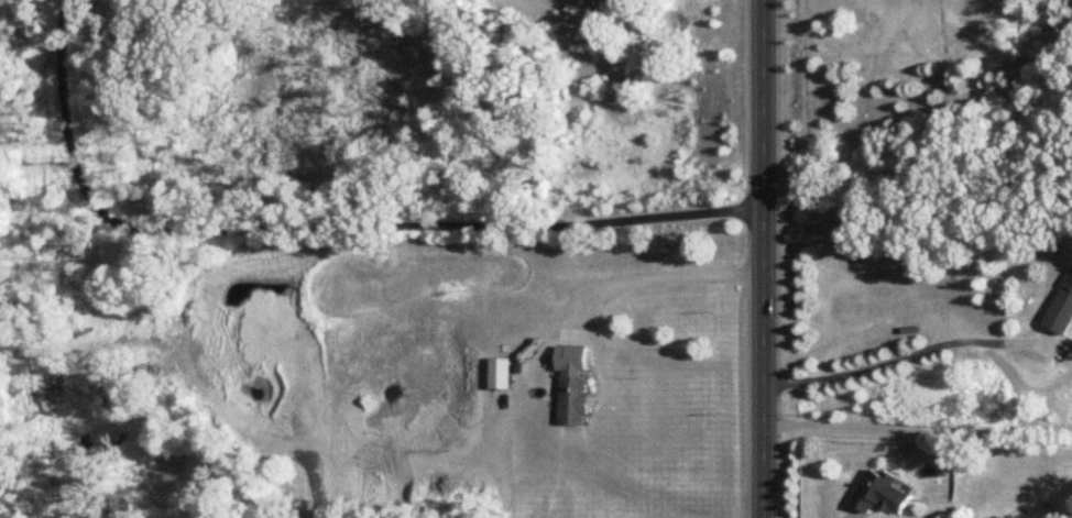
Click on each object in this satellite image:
road: (320, 228)
building: (1065, 238)
road: (763, 258)
road: (668, 276)
building: (1062, 310)
road: (911, 352)
building: (501, 375)
building: (575, 403)
road: (917, 427)
road: (606, 487)
building: (880, 495)

